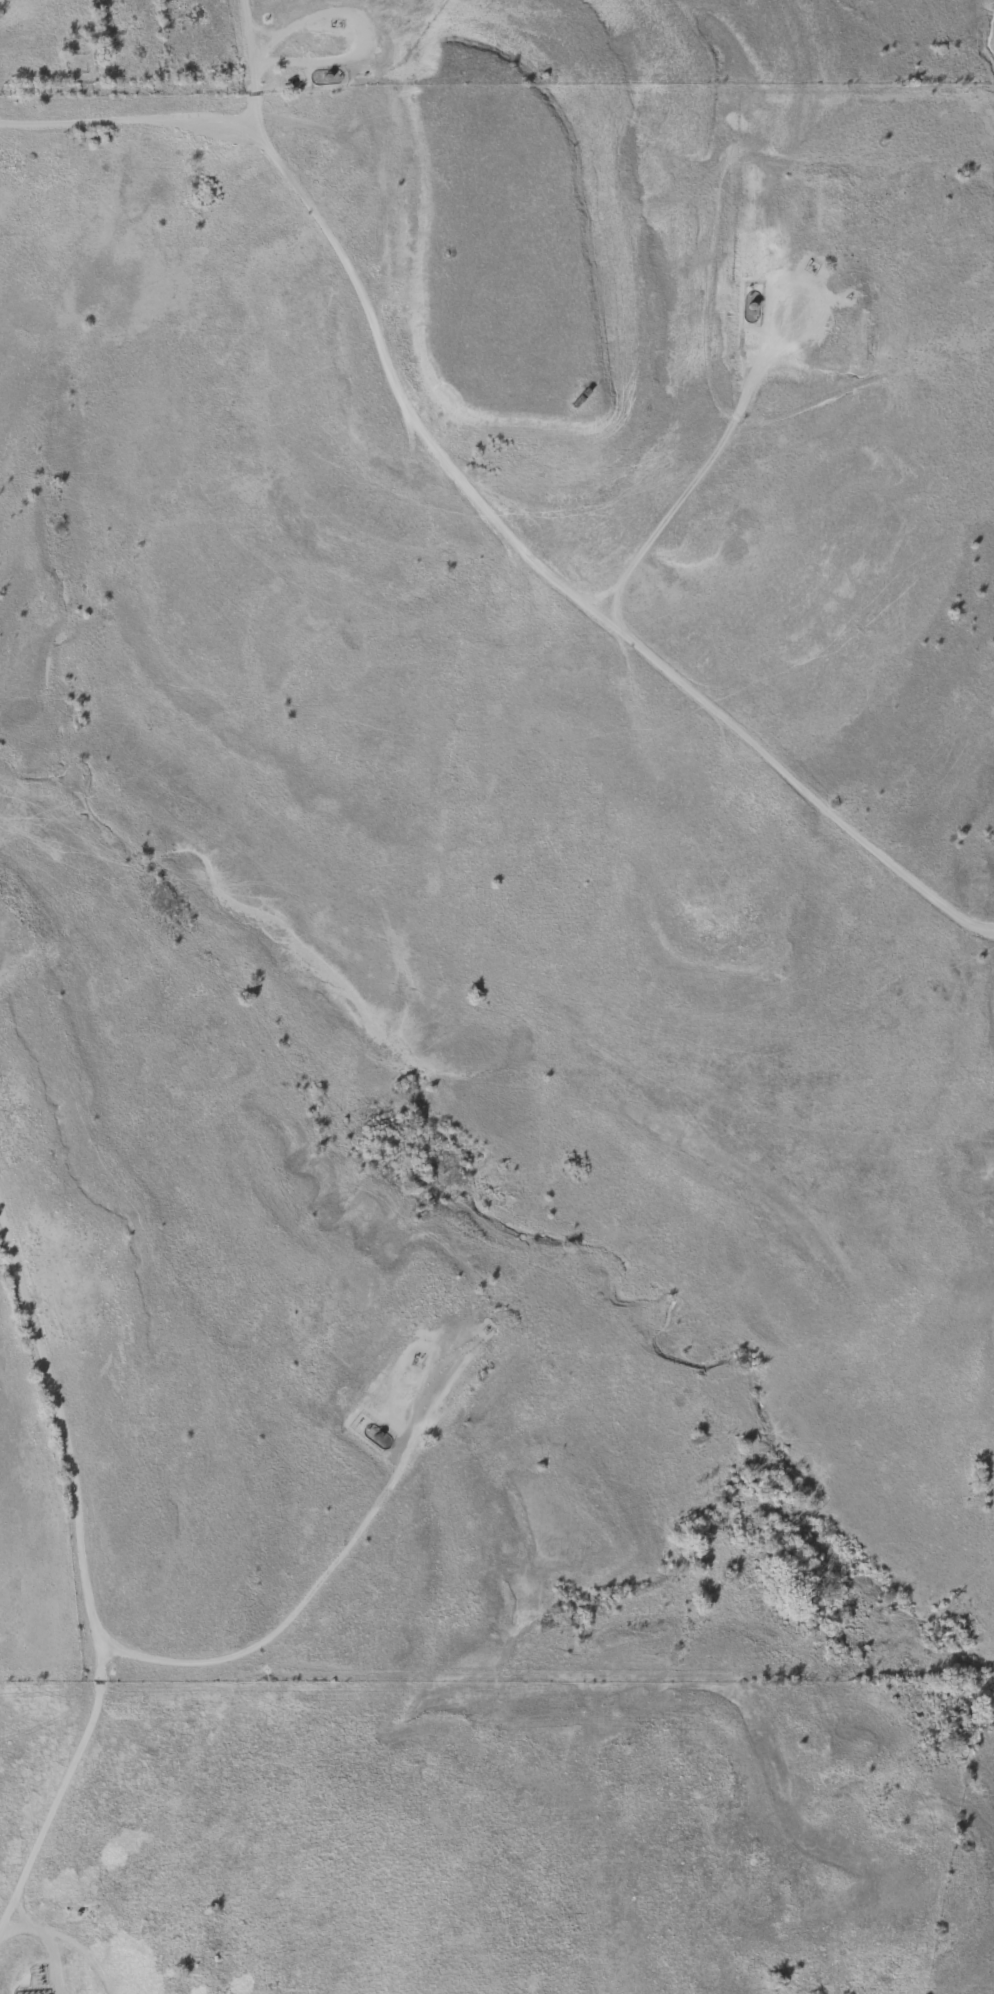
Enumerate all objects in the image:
road: (125, 121)
road: (515, 541)
road: (83, 1575)
road: (279, 1625)
road: (46, 1943)
road: (84, 1952)

